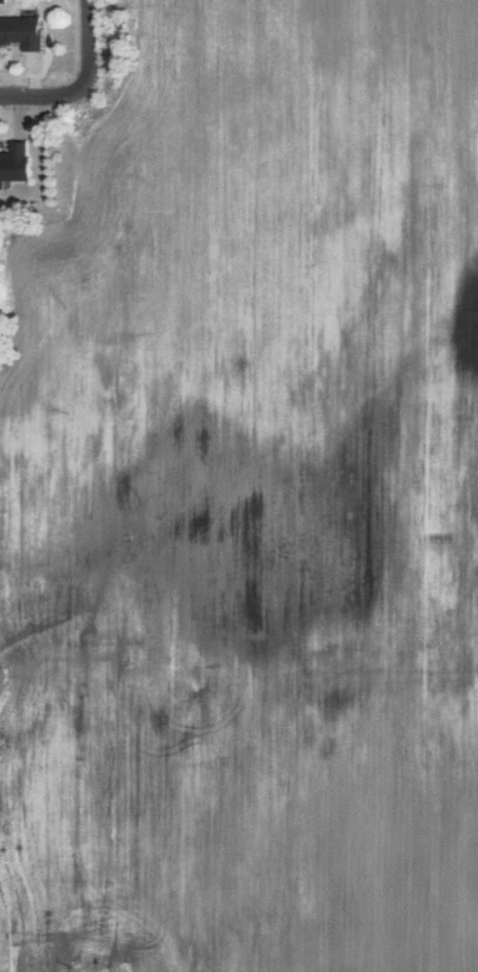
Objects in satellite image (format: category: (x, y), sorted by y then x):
building: (22, 31)
road: (95, 48)
road: (51, 97)
building: (15, 162)

